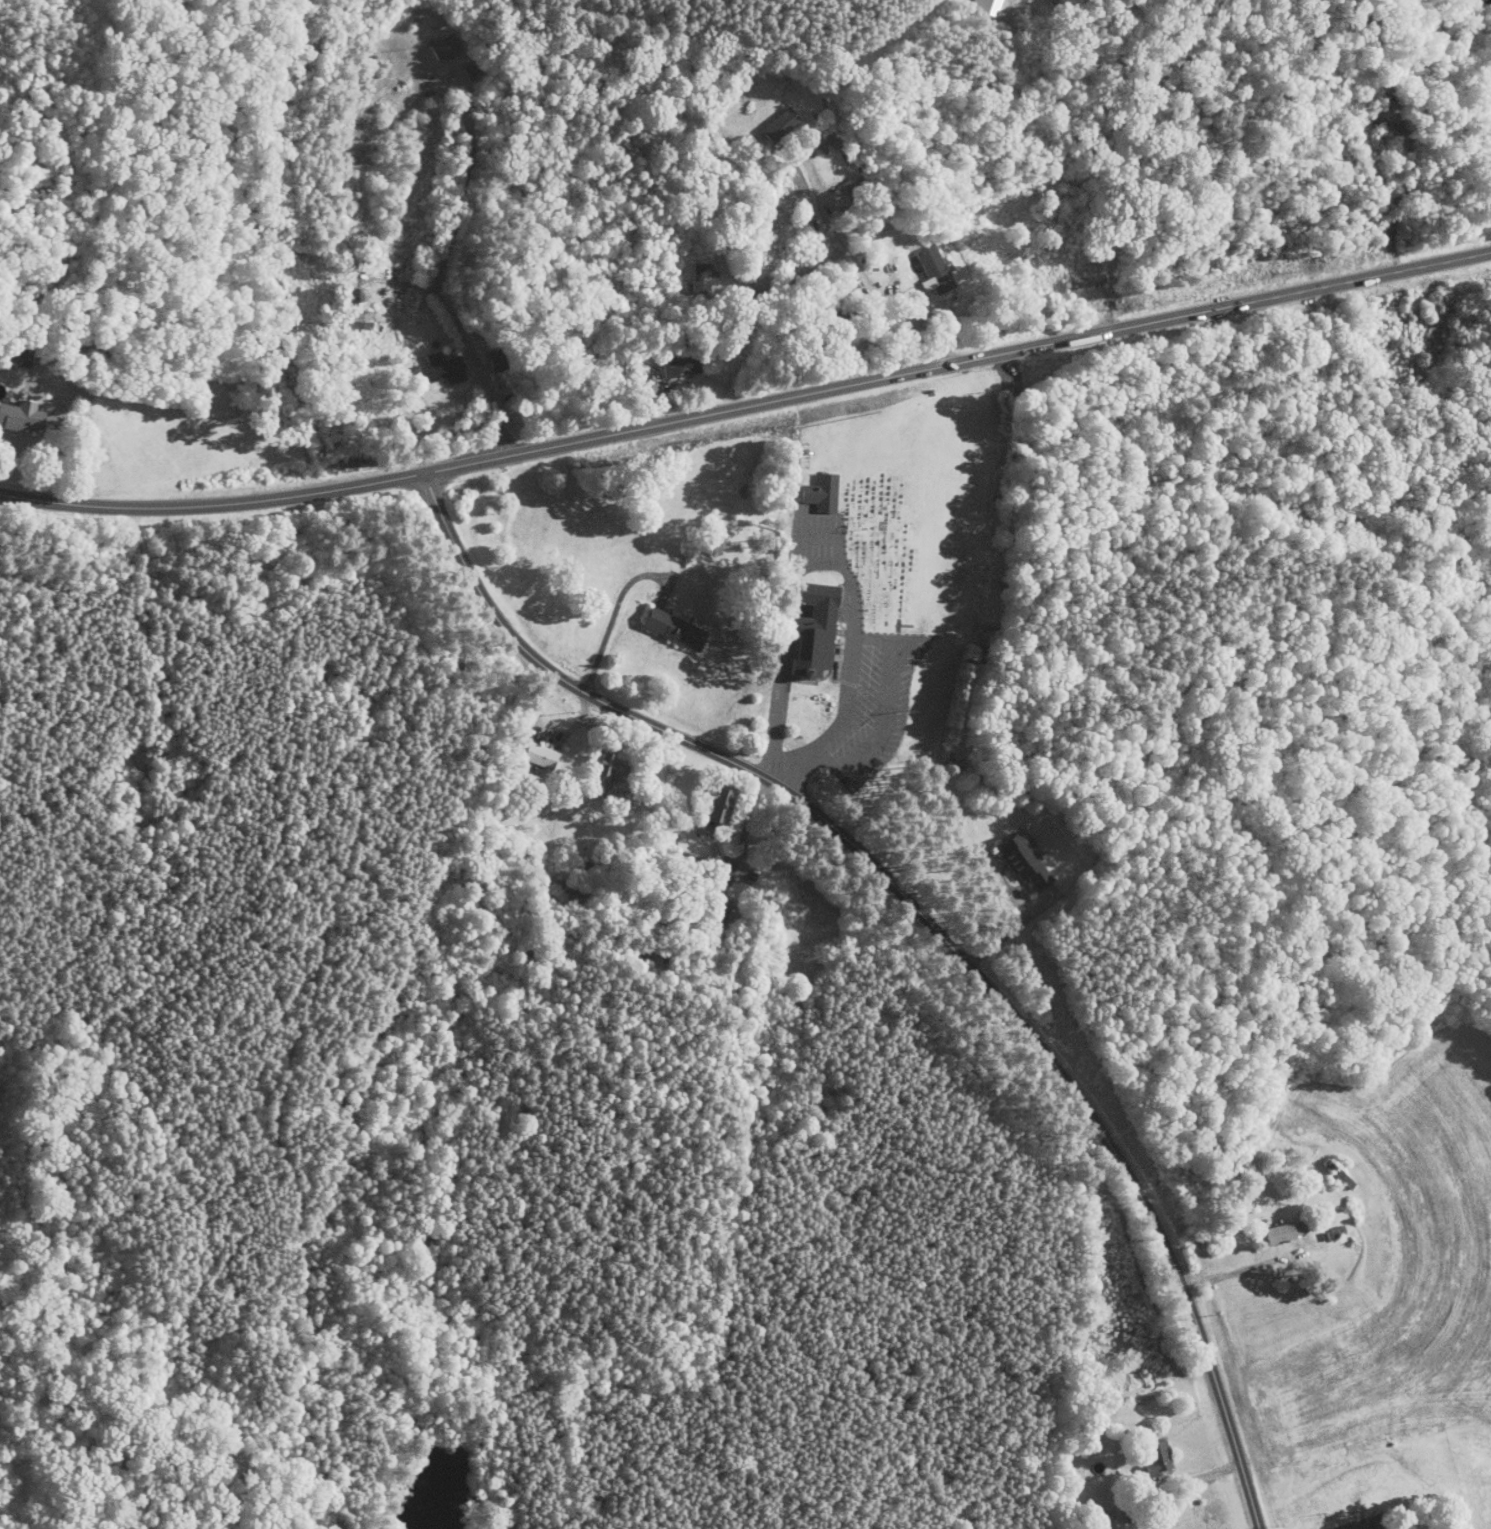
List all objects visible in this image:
building: (985, 6)
building: (442, 46)
building: (776, 124)
road: (463, 185)
road: (857, 254)
road: (725, 259)
building: (933, 269)
building: (699, 276)
road: (923, 277)
building: (1082, 281)
road: (1100, 293)
building: (355, 305)
building: (358, 325)
road: (466, 335)
building: (676, 366)
building: (438, 368)
road: (748, 406)
building: (20, 416)
road: (59, 455)
building: (819, 492)
road: (840, 551)
road: (613, 617)
building: (674, 629)
building: (810, 630)
road: (783, 644)
road: (595, 737)
road: (794, 752)
road: (821, 752)
building: (538, 754)
building: (605, 771)
building: (712, 807)
road: (749, 823)
building: (1020, 861)
road: (1059, 884)
road: (930, 923)
building: (1280, 1231)
road: (1236, 1267)
building: (1154, 1457)
road: (1202, 1473)

